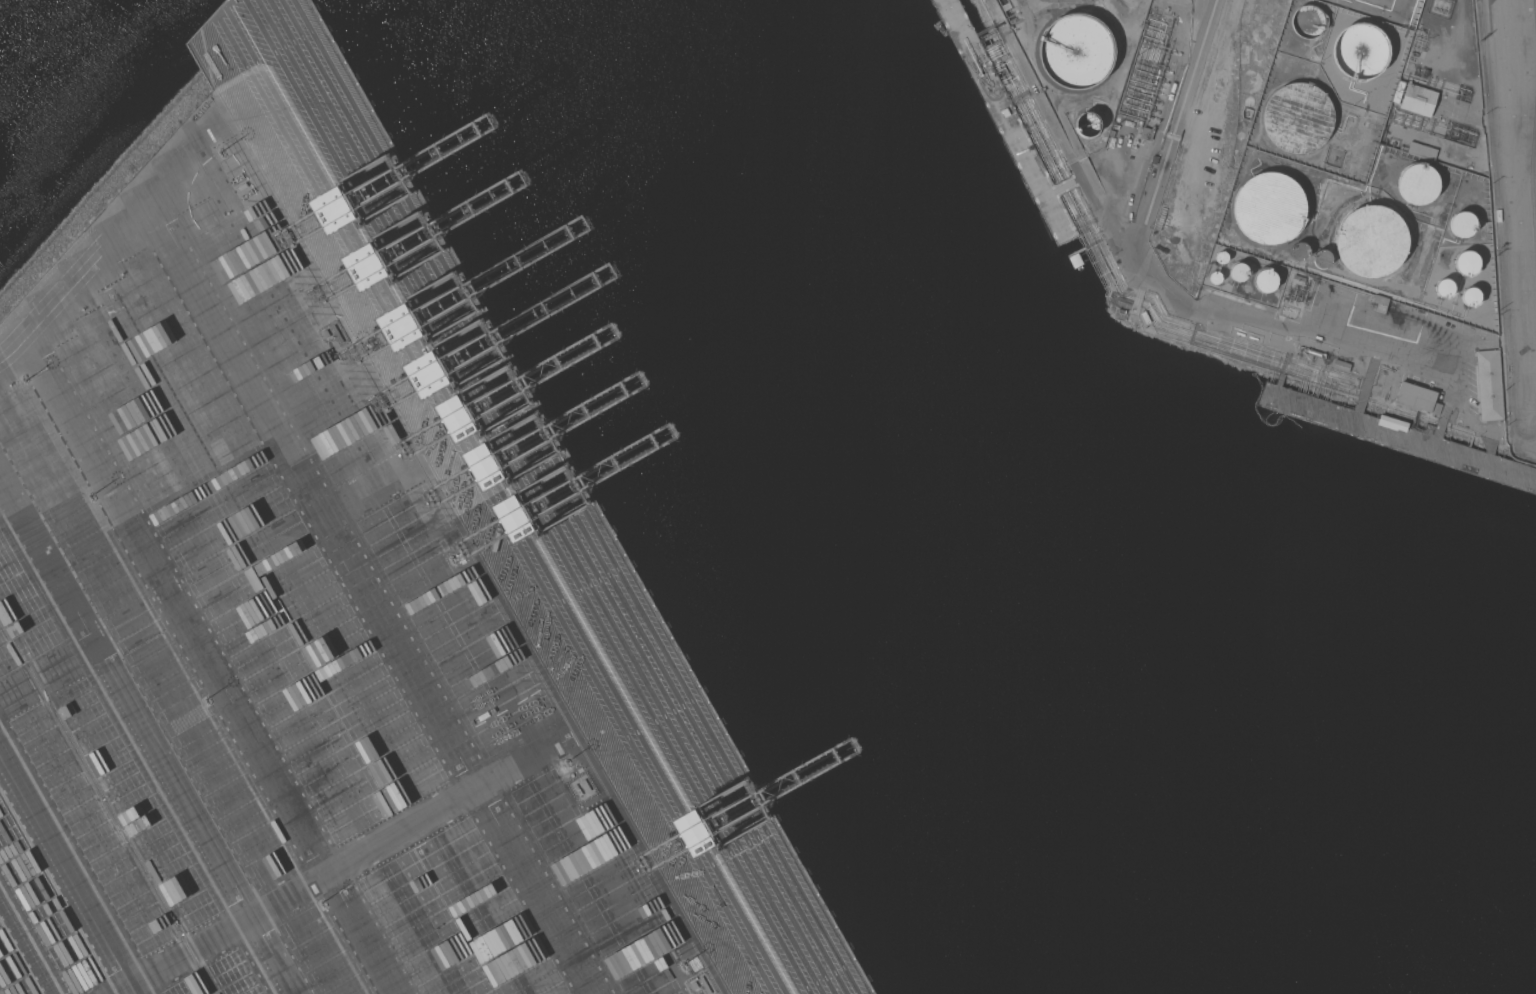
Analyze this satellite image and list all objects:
building: (1310, 20)
storage tank: (1310, 20)
building: (221, 21)
building: (1360, 51)
storage tank: (1360, 51)
building: (1075, 53)
storage tank: (1075, 53)
building: (212, 63)
building: (1420, 100)
building: (1005, 112)
building: (1299, 116)
storage tank: (1299, 116)
storage tank: (1088, 122)
building: (1147, 133)
building: (1424, 151)
road: (201, 152)
building: (1154, 159)
building: (1419, 185)
storage tank: (1419, 185)
building: (1269, 208)
storage tank: (1269, 208)
road: (1517, 217)
building: (1462, 224)
storage tank: (1466, 224)
building: (1373, 241)
storage tank: (1373, 241)
storage tank: (1300, 252)
storage tank: (1221, 258)
storage tank: (1323, 259)
storage tank: (1470, 263)
building: (1237, 272)
storage tank: (1238, 273)
road: (76, 276)
building: (1215, 278)
storage tank: (1215, 279)
building: (1265, 280)
building: (1300, 281)
storage tank: (1265, 282)
storage tank: (1446, 289)
storage tank: (1474, 298)
building: (1380, 303)
building: (1342, 367)
building: (1492, 386)
building: (1420, 399)
building: (1391, 423)
pier: (1399, 436)
road: (375, 599)
road: (142, 734)
road: (65, 867)
road: (316, 872)

